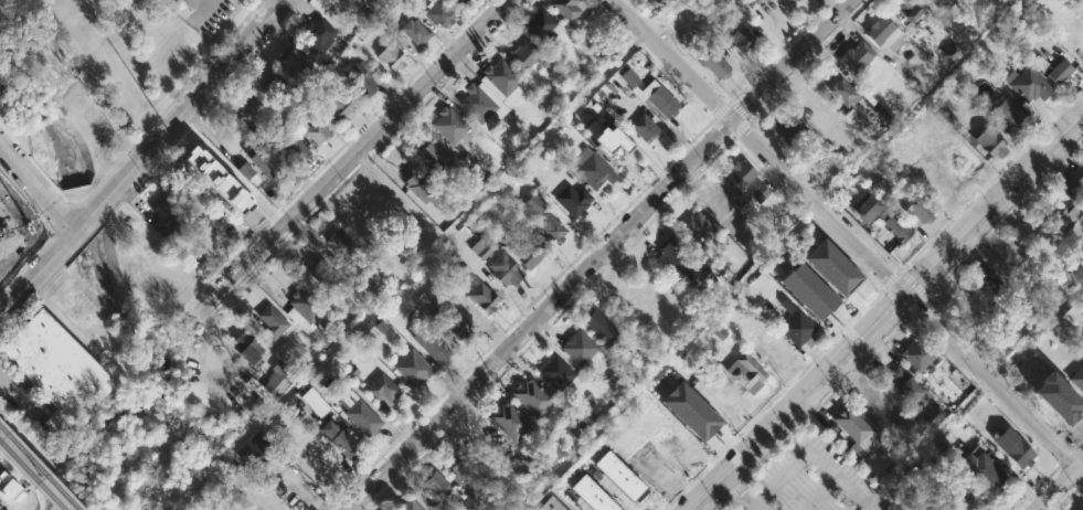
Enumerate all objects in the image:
building: (461, 0)
building: (797, 0)
building: (455, 1)
road: (205, 2)
building: (367, 2)
building: (751, 2)
building: (784, 2)
building: (937, 2)
road: (301, 6)
building: (569, 8)
building: (907, 8)
road: (203, 9)
building: (440, 15)
road: (615, 19)
building: (540, 25)
building: (413, 31)
building: (316, 33)
road: (450, 34)
building: (884, 34)
road: (481, 39)
building: (742, 40)
road: (638, 42)
building: (530, 54)
building: (391, 56)
building: (857, 56)
building: (294, 63)
building: (714, 64)
building: (1060, 72)
building: (500, 76)
building: (357, 78)
building: (1028, 83)
building: (274, 87)
building: (845, 92)
building: (650, 94)
road: (729, 97)
road: (730, 99)
building: (476, 103)
building: (337, 105)
road: (721, 110)
building: (254, 111)
road: (740, 111)
building: (1007, 113)
road: (711, 118)
road: (751, 121)
building: (450, 126)
building: (643, 127)
road: (722, 128)
building: (789, 128)
road: (740, 129)
building: (316, 130)
building: (606, 138)
road: (731, 139)
building: (991, 141)
road: (757, 147)
building: (294, 148)
building: (955, 150)
building: (432, 155)
road: (353, 157)
road: (141, 158)
building: (259, 161)
building: (246, 170)
building: (594, 170)
building: (739, 176)
building: (219, 180)
building: (468, 180)
building: (1074, 181)
building: (943, 183)
building: (421, 185)
building: (181, 187)
road: (36, 188)
building: (758, 193)
building: (382, 199)
building: (572, 200)
building: (531, 204)
building: (916, 206)
building: (867, 208)
building: (163, 213)
road: (1005, 216)
building: (361, 219)
building: (1071, 222)
road: (857, 225)
building: (896, 226)
building: (697, 227)
building: (551, 229)
road: (628, 242)
building: (342, 246)
building: (481, 247)
building: (1009, 251)
building: (525, 252)
road: (597, 254)
building: (680, 256)
road: (900, 267)
building: (6, 268)
building: (832, 268)
building: (503, 269)
building: (457, 272)
building: (323, 273)
road: (890, 278)
road: (552, 279)
road: (871, 280)
building: (985, 280)
road: (913, 283)
building: (808, 291)
building: (482, 297)
road: (893, 302)
building: (302, 307)
road: (917, 307)
road: (884, 312)
building: (402, 318)
building: (453, 321)
building: (270, 322)
building: (796, 325)
building: (602, 328)
building: (769, 341)
building: (432, 343)
building: (247, 349)
building: (578, 349)
building: (917, 354)
building: (53, 366)
building: (413, 369)
building: (555, 372)
building: (746, 373)
building: (1077, 379)
building: (268, 382)
road: (994, 382)
building: (909, 387)
building: (385, 390)
building: (531, 397)
road: (826, 399)
building: (869, 399)
road: (771, 400)
building: (316, 402)
building: (1063, 403)
building: (691, 412)
building: (361, 414)
building: (933, 416)
building: (508, 422)
building: (857, 432)
building: (477, 438)
building: (342, 442)
road: (1077, 445)
building: (253, 446)
building: (1015, 447)
building: (677, 450)
road: (807, 450)
road: (1077, 454)
road: (1065, 457)
building: (457, 464)
railway: (36, 469)
building: (648, 469)
building: (986, 474)
road: (1068, 474)
building: (618, 475)
building: (482, 476)
railway: (30, 477)
parking lot: (809, 480)
road: (1081, 481)
building: (436, 485)
road: (1060, 487)
building: (6, 488)
road: (1036, 488)
road: (732, 490)
road: (381, 495)
building: (592, 495)
road: (734, 495)
road: (821, 495)
building: (971, 497)
road: (1066, 497)
building: (408, 504)
building: (551, 504)
road: (716, 506)
building: (383, 509)
road: (864, 509)
building: (942, 509)
building: (1082, 509)

